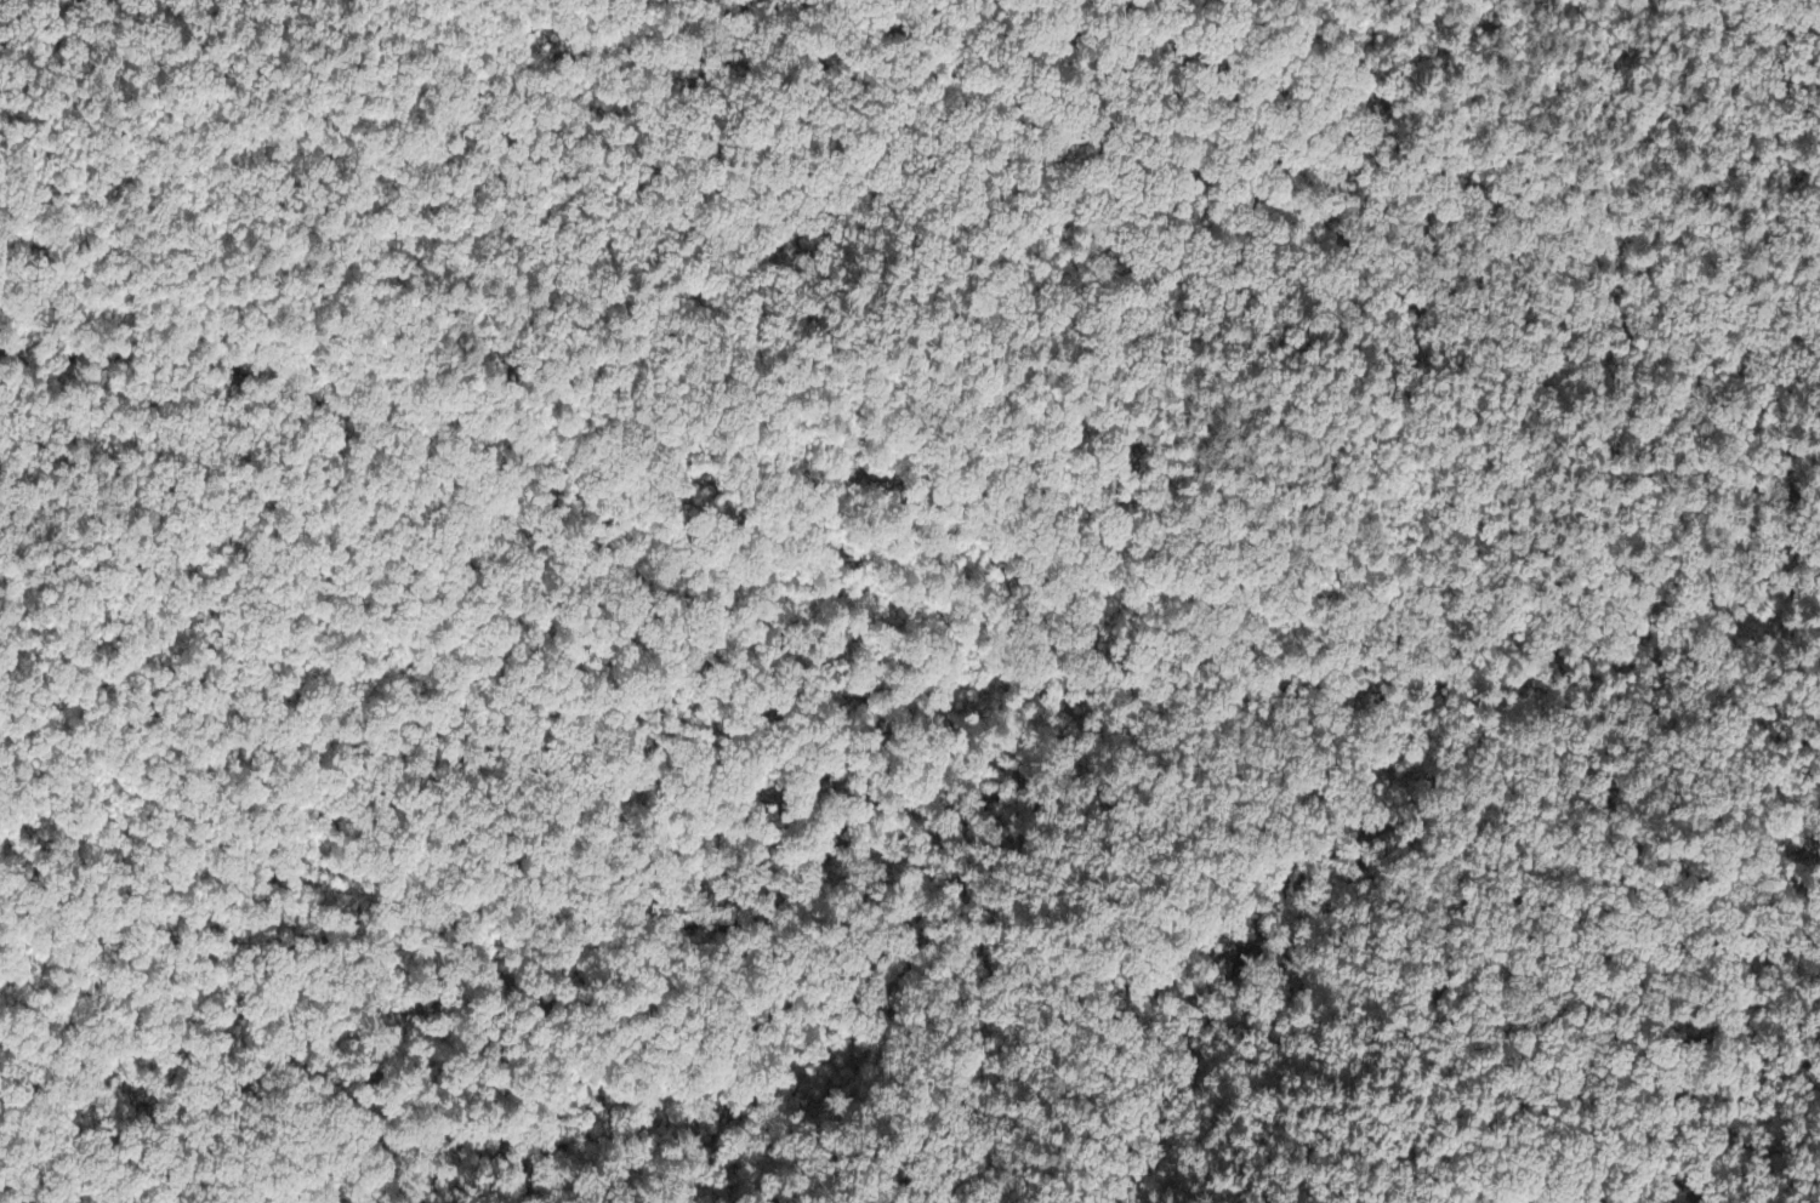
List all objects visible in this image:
road: (1782, 64)
road: (1673, 582)
road: (1803, 1191)

